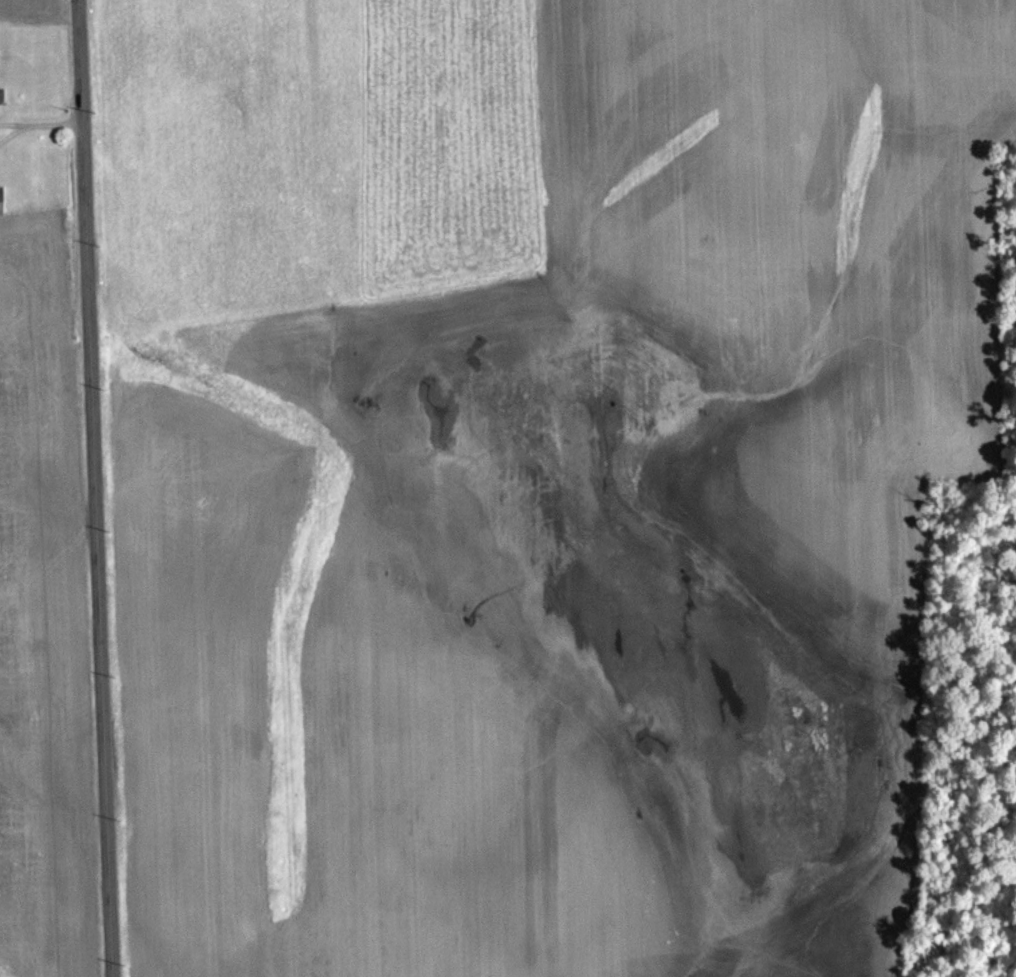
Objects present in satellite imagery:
building: (1, 95)
road: (51, 121)
road: (12, 122)
road: (12, 131)
building: (2, 201)
road: (90, 488)

